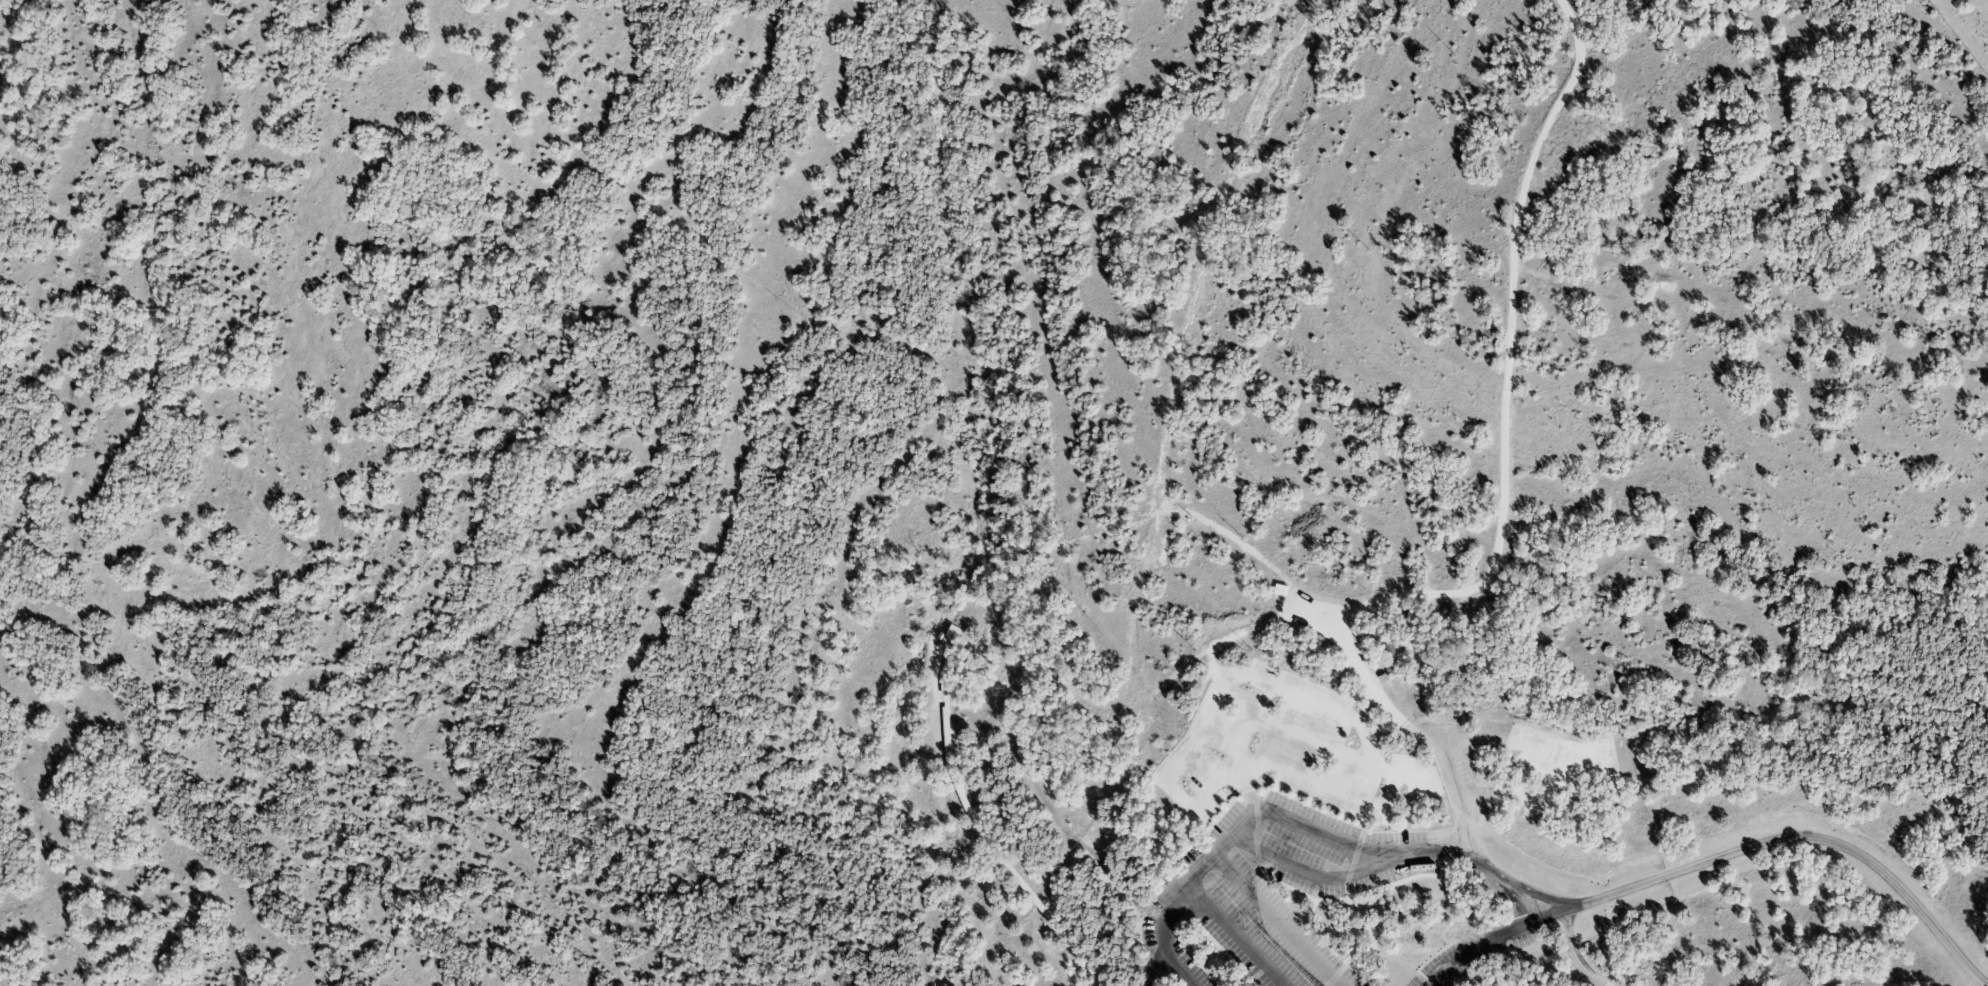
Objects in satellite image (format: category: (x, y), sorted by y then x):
road: (1500, 494)
building: (950, 636)
building: (1392, 652)
road: (1278, 816)
road: (1798, 836)
road: (1319, 870)
road: (1237, 878)
parking lot: (1275, 891)
road: (1537, 898)
road: (1519, 904)
road: (1241, 935)
road: (1488, 937)
parking lot: (1478, 950)
road: (1573, 953)

